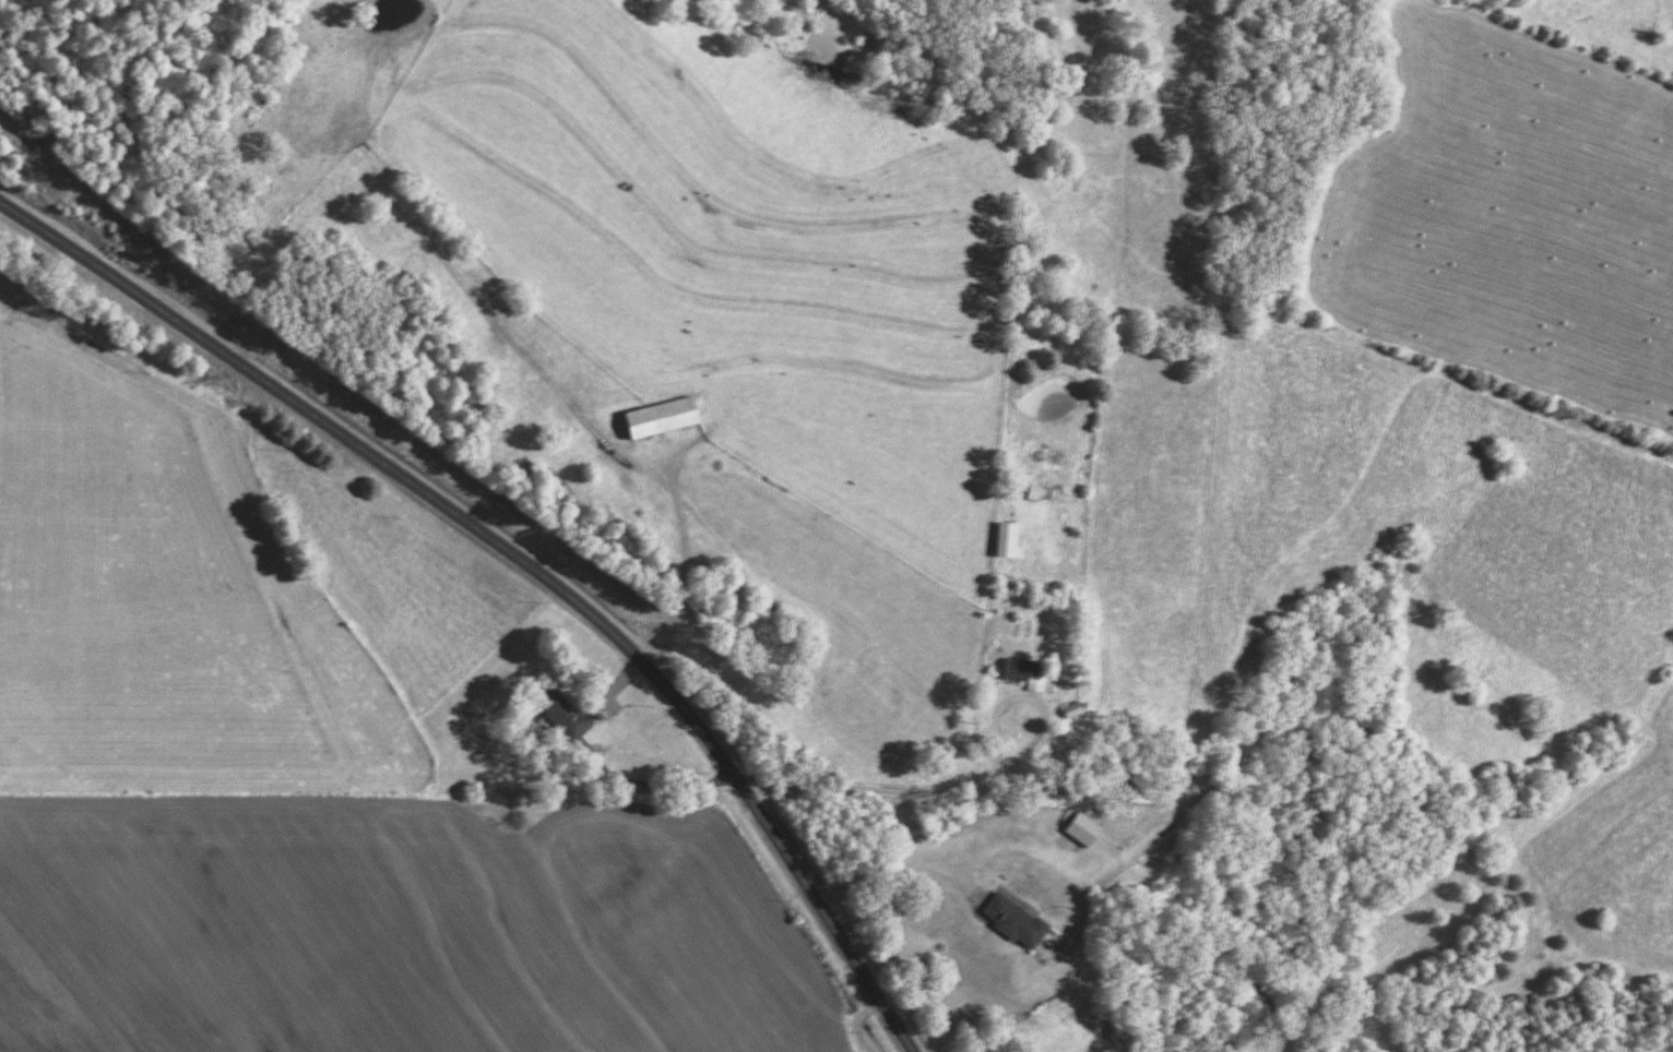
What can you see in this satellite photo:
building: (667, 419)
building: (1028, 495)
building: (1000, 545)
road: (521, 562)
building: (1202, 683)
building: (1070, 712)
building: (567, 715)
building: (559, 774)
road: (977, 790)
building: (1076, 833)
building: (1007, 924)

